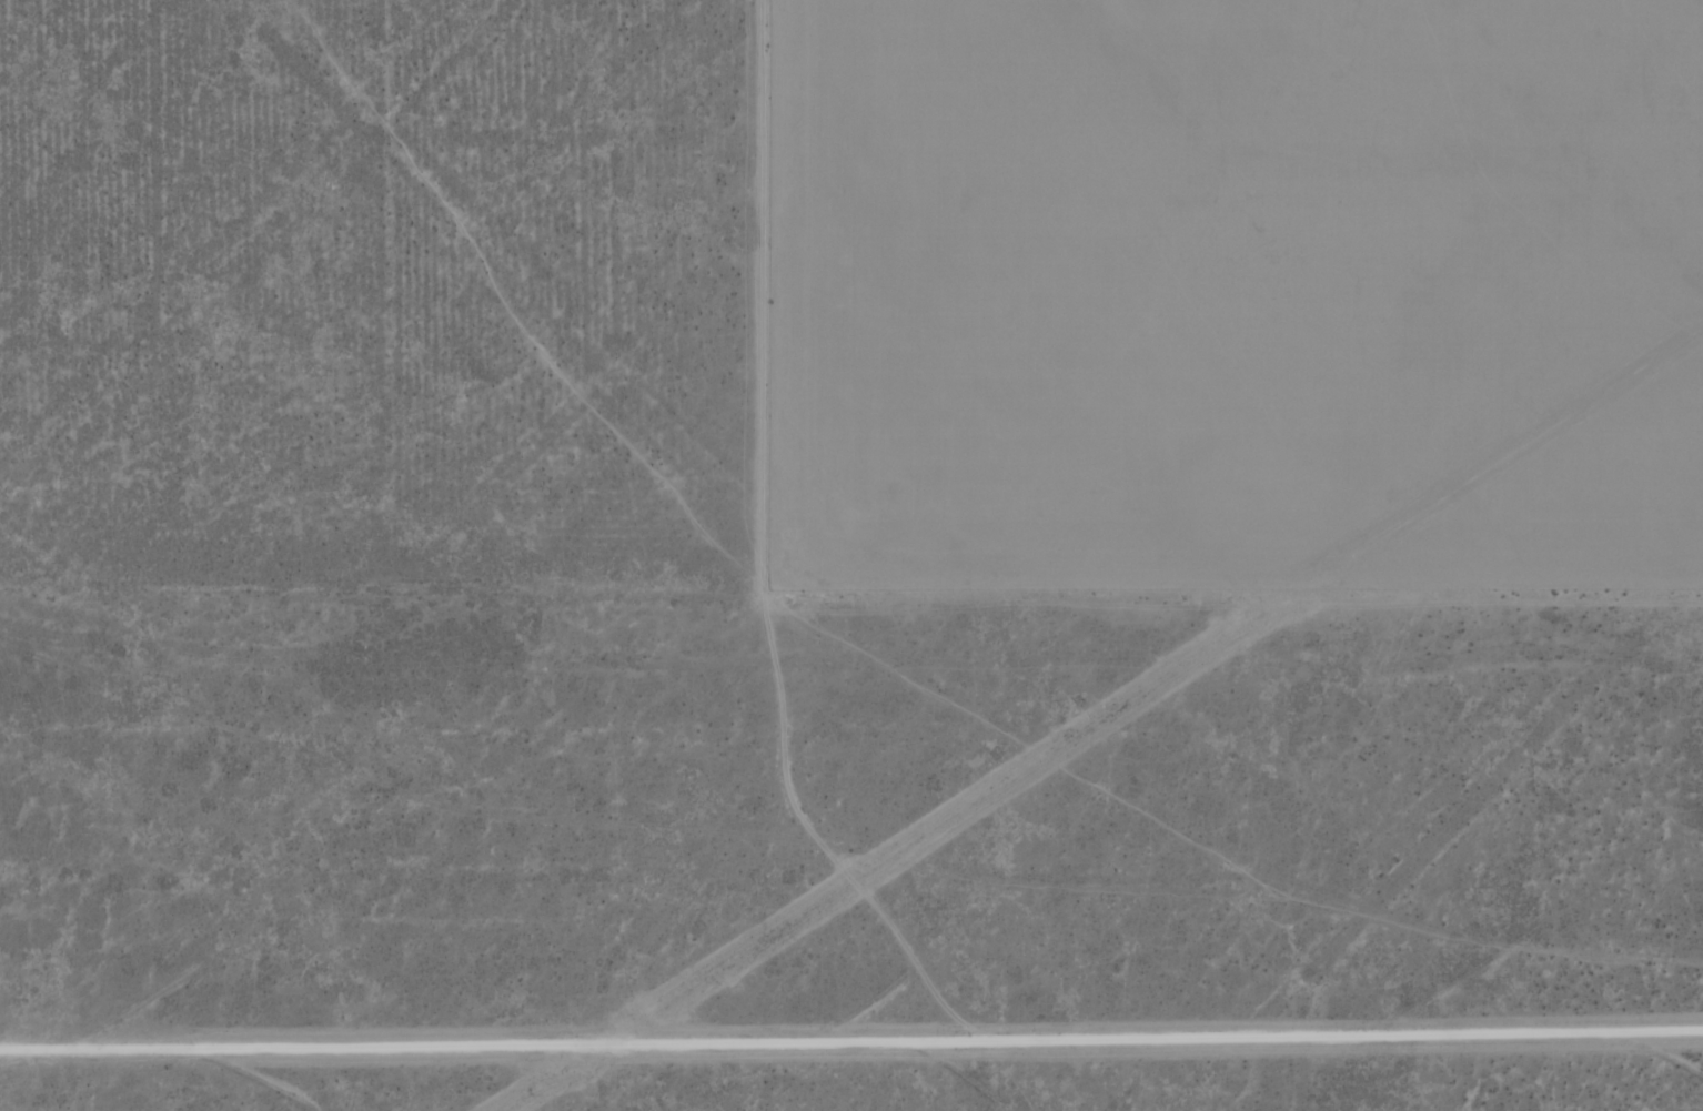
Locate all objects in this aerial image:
road: (838, 866)

